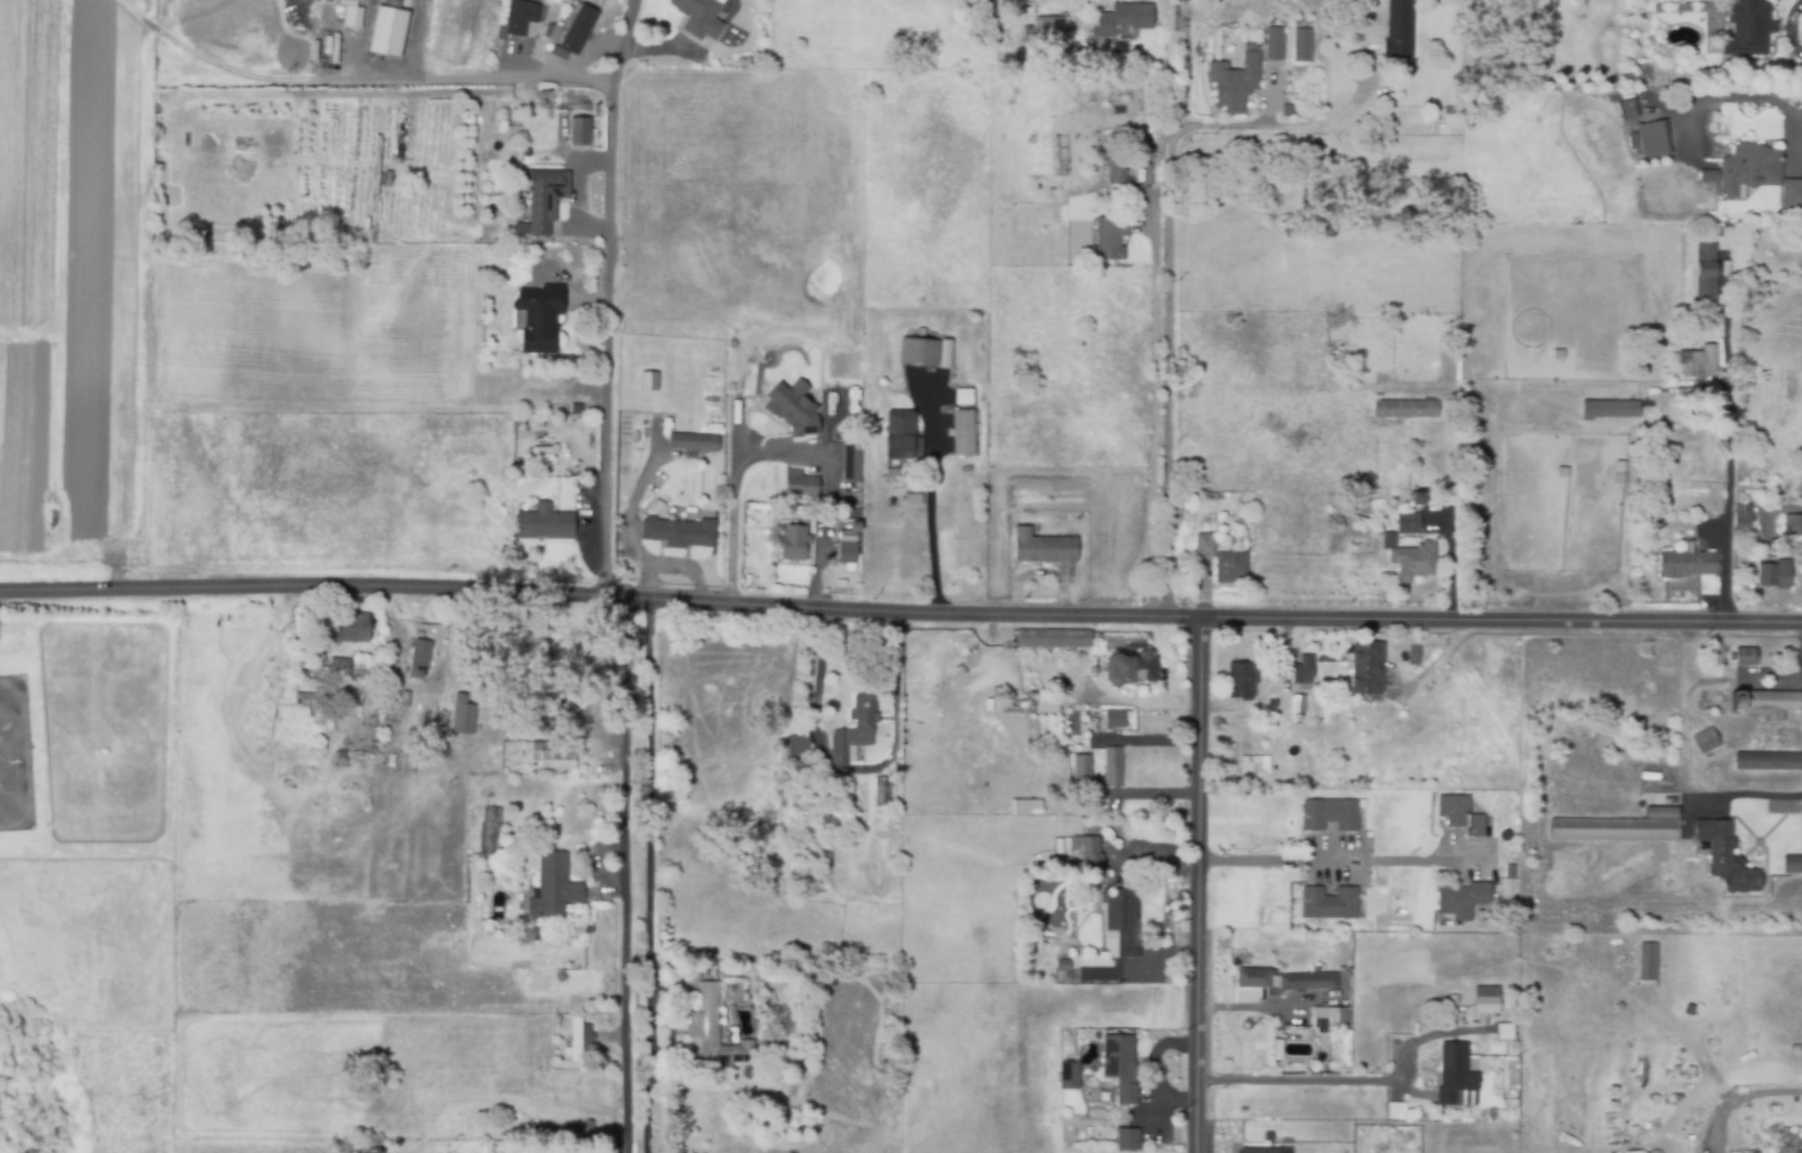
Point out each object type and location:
building: (355, 0)
building: (1146, 0)
building: (523, 14)
building: (699, 18)
building: (352, 19)
building: (1121, 22)
building: (1052, 28)
building: (1747, 29)
building: (389, 31)
building: (1398, 31)
building: (567, 35)
building: (733, 36)
building: (1273, 45)
building: (1301, 47)
building: (334, 50)
building: (1019, 57)
building: (1030, 57)
building: (1489, 67)
road: (485, 77)
building: (1630, 79)
building: (1236, 85)
building: (578, 93)
building: (1627, 109)
building: (579, 127)
road: (1291, 127)
building: (1652, 139)
building: (1449, 140)
building: (1748, 170)
building: (1115, 171)
building: (1713, 177)
building: (386, 181)
building: (1791, 194)
building: (542, 202)
building: (1109, 239)
building: (1705, 276)
road: (608, 297)
road: (1171, 307)
building: (538, 319)
building: (1079, 338)
building: (1676, 342)
building: (918, 353)
building: (1700, 365)
building: (1023, 367)
building: (647, 383)
building: (1405, 410)
building: (1608, 410)
building: (565, 411)
building: (555, 413)
road: (1152, 414)
building: (791, 420)
building: (1378, 425)
building: (962, 434)
building: (901, 438)
building: (692, 444)
building: (850, 464)
building: (544, 472)
building: (891, 475)
building: (798, 484)
road: (736, 492)
building: (1417, 499)
building: (912, 501)
building: (655, 508)
road: (930, 510)
building: (1472, 513)
building: (1741, 523)
building: (543, 524)
building: (1407, 525)
building: (1792, 525)
building: (852, 527)
building: (678, 533)
building: (846, 538)
building: (1387, 542)
building: (793, 544)
building: (1204, 545)
building: (1041, 549)
building: (846, 555)
building: (1413, 562)
building: (1685, 565)
building: (1229, 568)
building: (1772, 574)
road: (599, 597)
building: (305, 615)
road: (1500, 617)
building: (347, 630)
building: (1052, 640)
building: (1745, 658)
building: (420, 659)
building: (1128, 669)
building: (1366, 670)
building: (339, 671)
building: (1303, 673)
building: (1240, 681)
building: (379, 702)
building: (1765, 702)
building: (1045, 704)
building: (1268, 704)
building: (1297, 706)
building: (1282, 707)
building: (463, 714)
building: (1778, 718)
building: (1114, 720)
building: (547, 726)
building: (1296, 728)
building: (854, 731)
building: (1704, 742)
building: (797, 751)
building: (552, 757)
building: (1314, 758)
building: (340, 762)
building: (1768, 763)
building: (1256, 764)
building: (1112, 768)
road: (854, 769)
building: (1079, 773)
building: (1095, 777)
road: (1743, 794)
building: (882, 800)
building: (1024, 806)
building: (1329, 816)
building: (1460, 816)
building: (491, 826)
building: (879, 829)
building: (1613, 831)
building: (906, 841)
building: (1086, 854)
building: (1723, 858)
road: (1338, 860)
building: (1791, 865)
building: (1510, 873)
road: (623, 876)
road: (649, 876)
road: (1198, 885)
building: (552, 889)
building: (1462, 901)
building: (1328, 904)
building: (1116, 933)
building: (1304, 935)
building: (1648, 963)
building: (1074, 965)
building: (1061, 966)
building: (713, 969)
building: (701, 970)
building: (821, 978)
building: (1254, 980)
building: (832, 982)
building: (1308, 983)
building: (1486, 1006)
building: (1327, 1020)
building: (712, 1032)
building: (730, 1036)
building: (579, 1044)
building: (806, 1063)
building: (1120, 1068)
building: (790, 1069)
building: (1067, 1078)
road: (1302, 1081)
building: (1455, 1084)
road: (1740, 1100)
building: (1392, 1112)
building: (1489, 1116)
building: (1426, 1120)
building: (1127, 1141)
building: (1283, 1151)
building: (1255, 1152)

